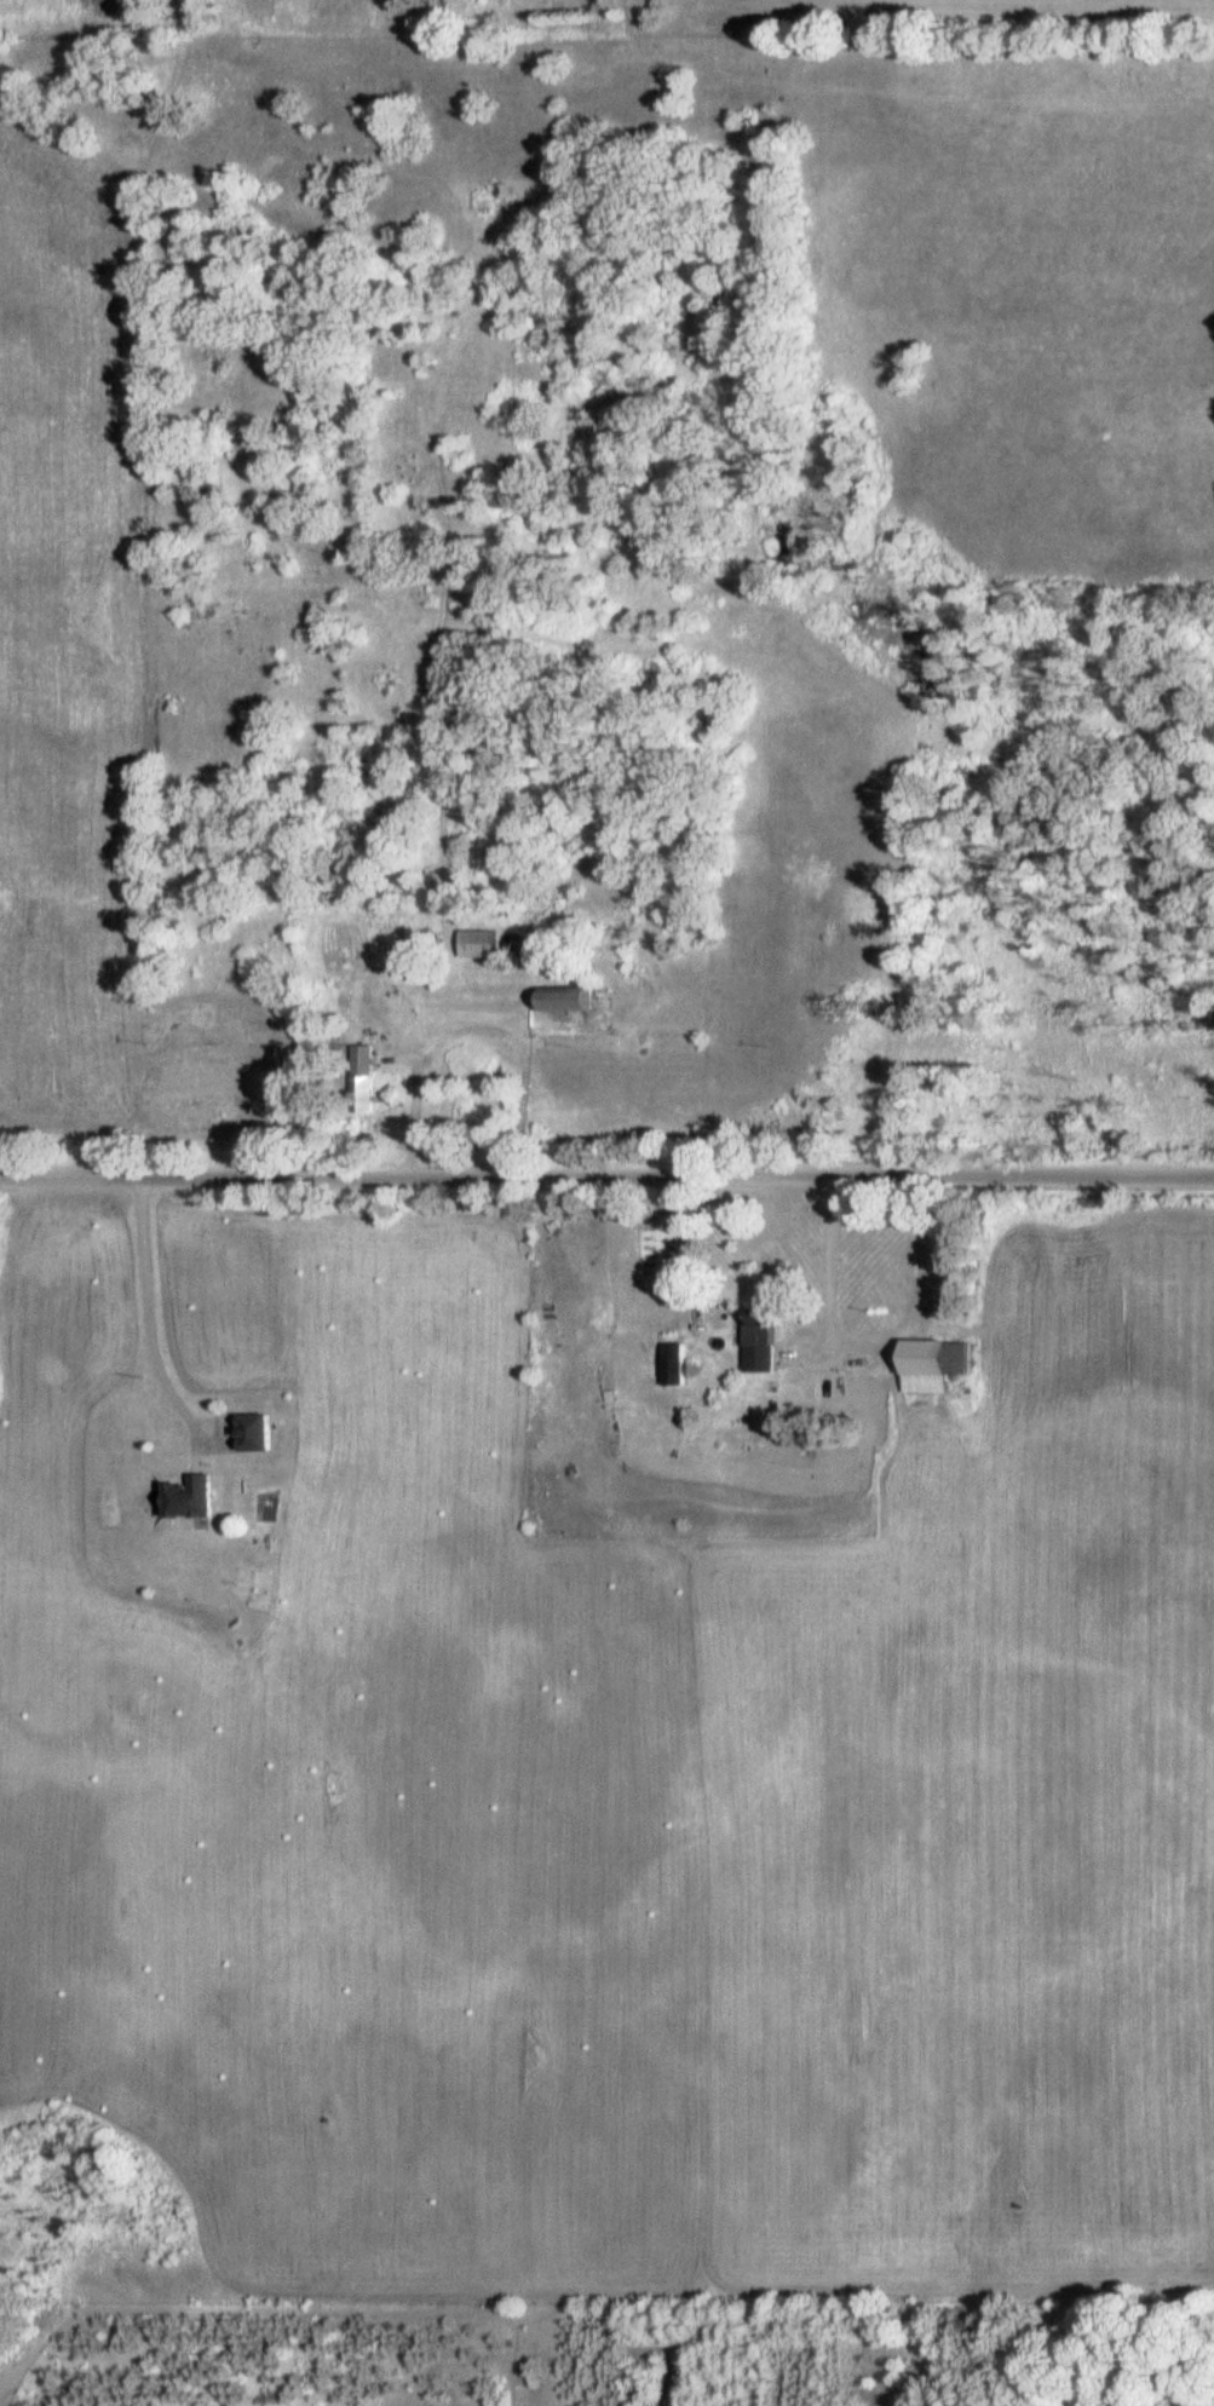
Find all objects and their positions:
building: (477, 944)
building: (569, 1000)
road: (606, 1182)
building: (759, 1342)
building: (937, 1358)
building: (673, 1364)
building: (238, 1456)
building: (189, 1498)

